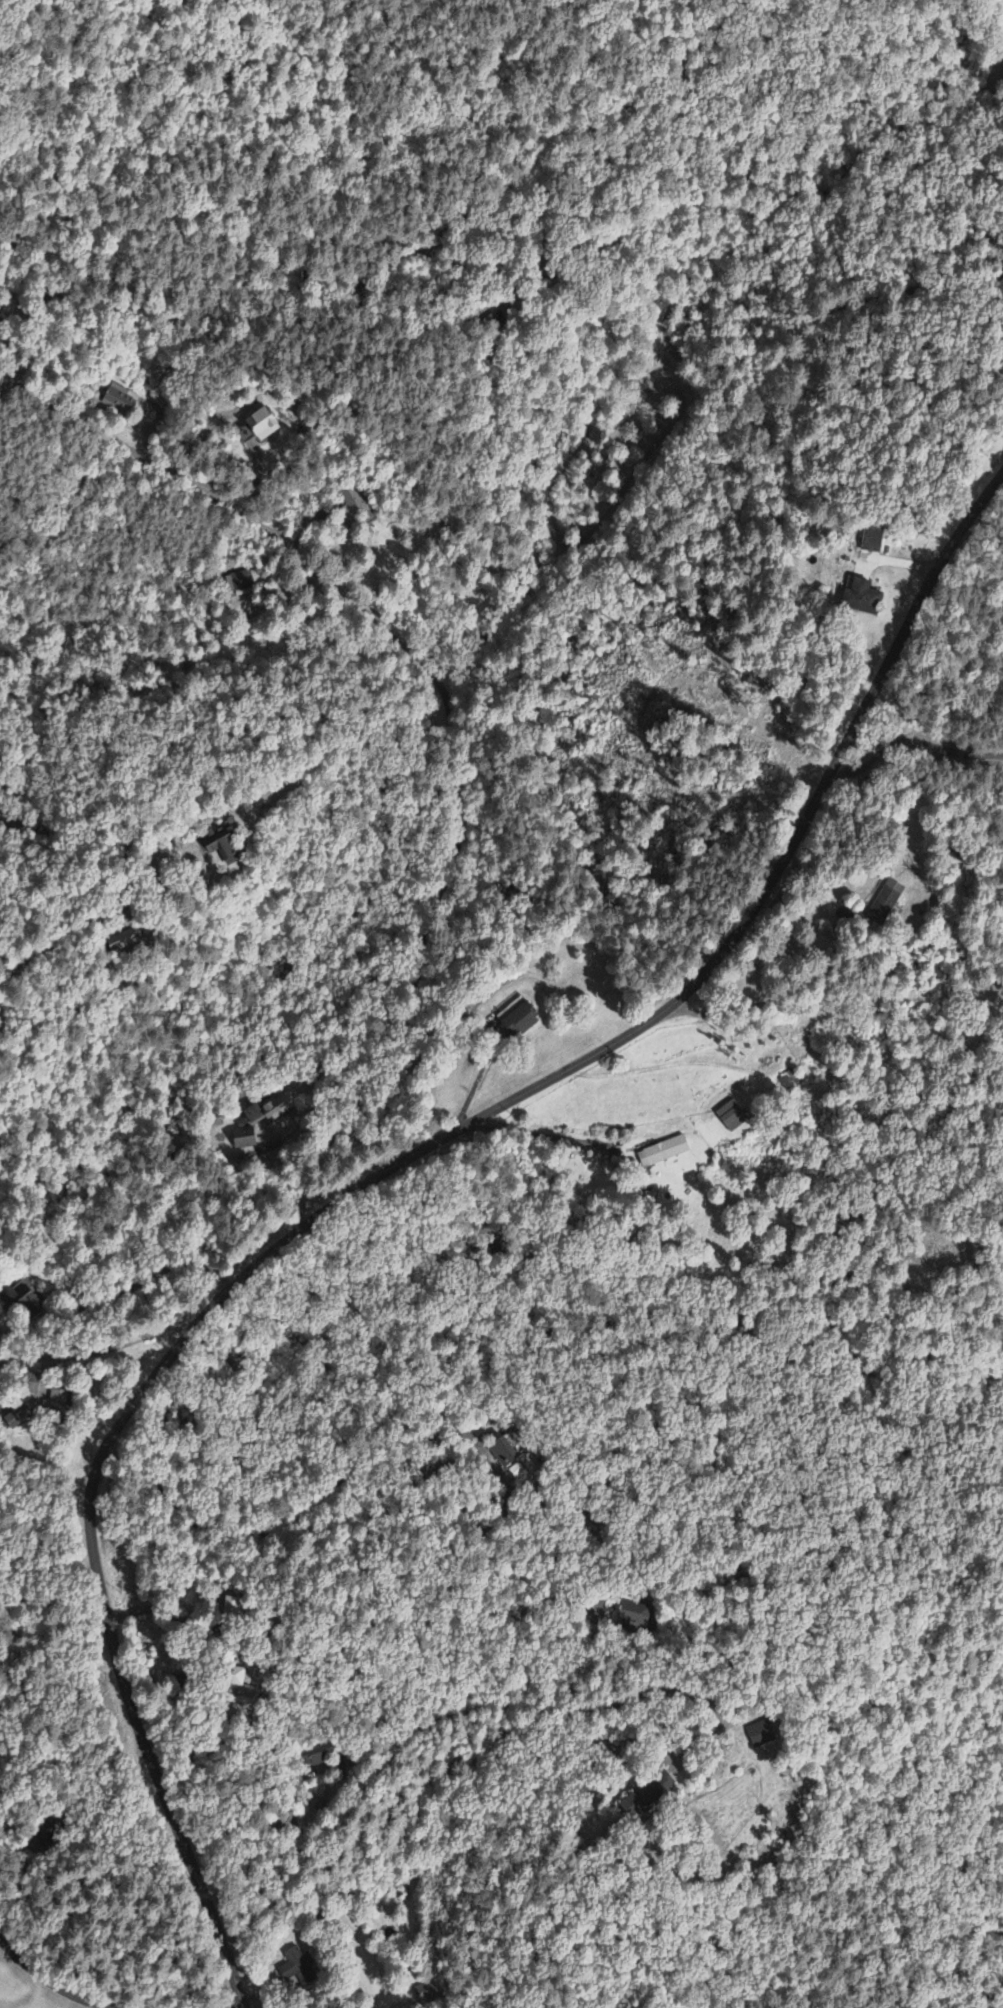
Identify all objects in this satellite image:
building: (119, 400)
building: (255, 427)
building: (870, 540)
building: (241, 585)
building: (859, 597)
road: (433, 674)
building: (882, 902)
building: (517, 1021)
building: (789, 1081)
building: (729, 1117)
building: (252, 1127)
building: (662, 1152)
road: (373, 1177)
road: (93, 1351)
building: (18, 1418)
building: (505, 1451)
building: (637, 1619)
building: (232, 1677)
building: (760, 1735)
building: (646, 1796)
building: (296, 1968)
road: (55, 1984)

